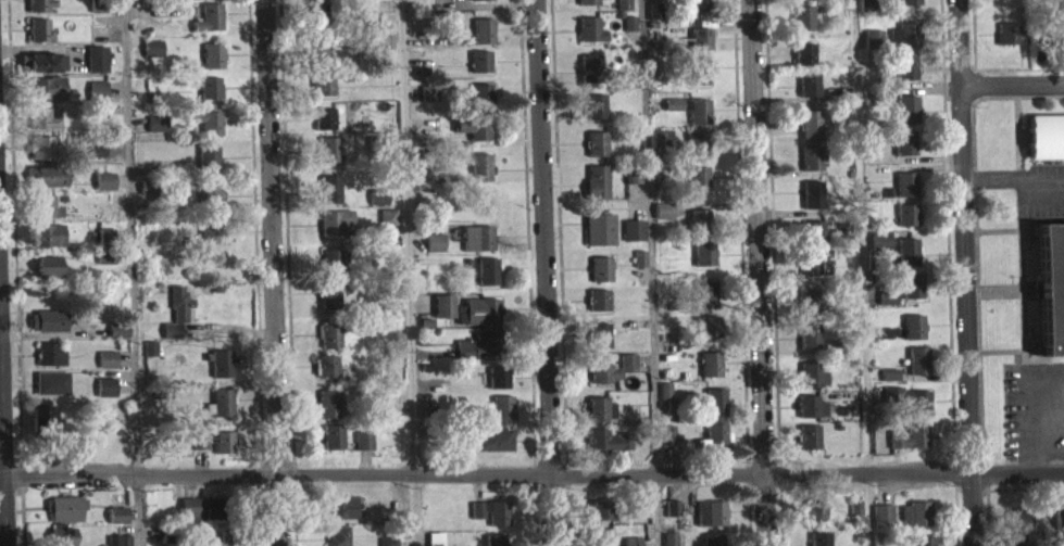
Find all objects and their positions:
building: (37, 4)
building: (481, 4)
building: (587, 7)
building: (906, 7)
building: (624, 11)
building: (698, 11)
building: (211, 12)
building: (317, 13)
building: (865, 13)
building: (654, 21)
building: (367, 25)
building: (589, 26)
building: (38, 27)
building: (209, 27)
building: (483, 28)
building: (802, 28)
building: (629, 34)
building: (590, 39)
building: (39, 40)
building: (1006, 42)
building: (452, 43)
building: (904, 45)
building: (318, 49)
building: (700, 49)
building: (873, 49)
building: (212, 53)
building: (152, 58)
building: (480, 60)
building: (803, 63)
building: (591, 64)
building: (213, 66)
building: (698, 66)
building: (96, 68)
building: (42, 72)
building: (905, 77)
building: (590, 78)
building: (323, 80)
building: (698, 80)
building: (808, 82)
road: (1013, 84)
building: (210, 85)
building: (39, 86)
building: (323, 92)
building: (481, 93)
building: (809, 94)
building: (46, 98)
building: (209, 98)
building: (97, 100)
building: (428, 103)
building: (596, 104)
building: (906, 105)
building: (699, 109)
building: (39, 115)
building: (596, 116)
building: (324, 117)
building: (691, 118)
building: (903, 119)
building: (100, 120)
building: (211, 120)
building: (809, 120)
building: (479, 125)
building: (45, 127)
building: (208, 132)
building: (155, 134)
building: (473, 137)
building: (696, 140)
building: (597, 141)
building: (41, 145)
building: (328, 147)
building: (1044, 147)
building: (662, 148)
building: (903, 152)
building: (697, 153)
building: (208, 154)
building: (596, 154)
building: (811, 156)
building: (40, 157)
building: (330, 158)
building: (97, 161)
building: (480, 163)
building: (208, 166)
building: (597, 176)
building: (697, 176)
building: (480, 177)
building: (429, 182)
building: (329, 185)
building: (47, 187)
building: (697, 190)
building: (812, 190)
building: (103, 191)
building: (905, 194)
building: (209, 195)
building: (146, 198)
building: (481, 198)
building: (329, 199)
building: (42, 204)
building: (812, 204)
building: (378, 206)
building: (481, 211)
building: (47, 217)
building: (699, 219)
building: (100, 220)
building: (329, 220)
building: (663, 220)
building: (905, 225)
building: (387, 227)
building: (211, 229)
building: (812, 229)
building: (698, 231)
building: (48, 232)
road: (859, 237)
building: (599, 239)
building: (633, 240)
building: (813, 241)
building: (210, 242)
building: (49, 245)
building: (104, 247)
building: (477, 247)
building: (880, 250)
building: (434, 252)
building: (703, 252)
building: (331, 258)
building: (810, 259)
building: (907, 262)
building: (600, 266)
building: (103, 268)
building: (486, 268)
building: (639, 268)
building: (331, 270)
road: (132, 272)
road: (274, 272)
road: (408, 272)
road: (542, 272)
road: (653, 272)
road: (758, 272)
road: (964, 272)
building: (48, 276)
building: (600, 279)
building: (1051, 284)
building: (704, 289)
building: (329, 291)
building: (912, 295)
building: (597, 297)
building: (811, 299)
building: (704, 304)
building: (329, 305)
building: (887, 307)
building: (487, 308)
building: (597, 309)
building: (811, 310)
building: (442, 316)
building: (177, 321)
building: (477, 321)
building: (709, 325)
building: (47, 330)
building: (329, 332)
building: (599, 332)
building: (809, 333)
building: (913, 337)
building: (117, 340)
building: (492, 341)
building: (884, 342)
building: (329, 345)
building: (598, 345)
building: (809, 346)
building: (476, 355)
building: (150, 358)
building: (222, 359)
building: (710, 363)
building: (50, 364)
building: (599, 366)
building: (107, 369)
building: (917, 370)
building: (222, 372)
building: (810, 372)
building: (326, 376)
building: (889, 384)
building: (498, 388)
building: (51, 393)
building: (105, 396)
building: (222, 398)
building: (715, 398)
building: (664, 399)
building: (328, 402)
building: (808, 404)
building: (501, 405)
building: (597, 407)
building: (910, 409)
building: (221, 412)
building: (810, 416)
building: (501, 418)
building: (600, 419)
building: (41, 427)
building: (809, 433)
building: (333, 434)
building: (715, 434)
building: (224, 440)
building: (667, 443)
road: (3, 445)
building: (333, 446)
building: (809, 446)
building: (909, 446)
building: (493, 449)
building: (363, 450)
building: (606, 450)
building: (215, 452)
road: (531, 472)
road: (872, 509)
building: (341, 517)
building: (672, 517)
building: (63, 518)
building: (200, 518)
building: (644, 518)
building: (854, 518)
building: (599, 520)
building: (490, 522)
building: (814, 522)
building: (711, 523)
building: (914, 523)
building: (117, 524)
building: (881, 525)
building: (1057, 529)
building: (1019, 530)
building: (61, 541)
building: (338, 541)
building: (602, 542)
building: (669, 544)
building: (818, 544)
building: (118, 545)
building: (223, 545)
building: (495, 545)
building: (712, 545)

